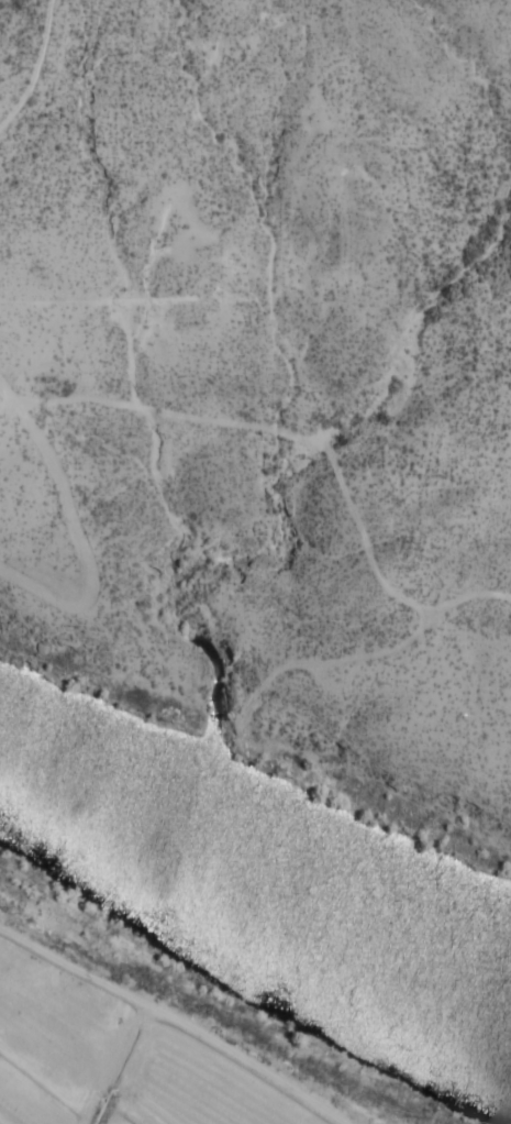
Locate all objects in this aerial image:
road: (36, 68)
road: (74, 528)
river: (266, 864)

